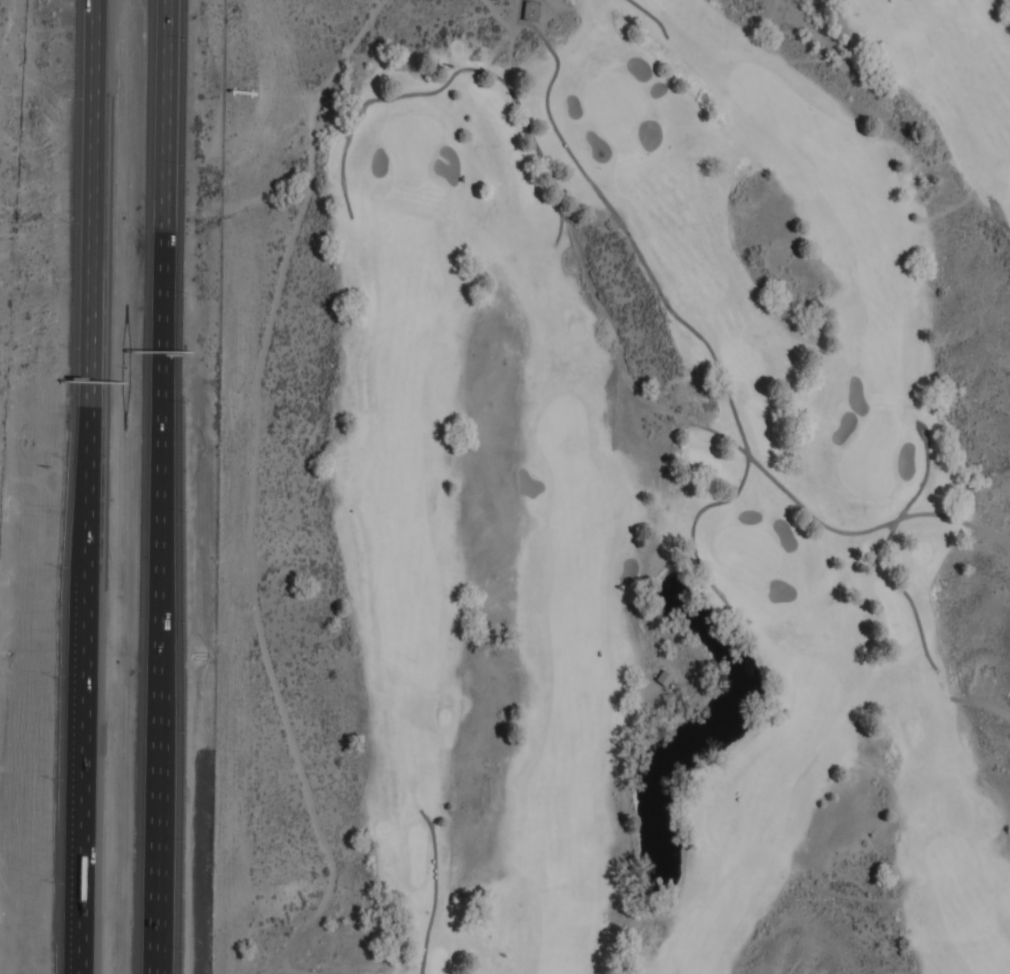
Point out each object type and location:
building: (531, 10)
road: (650, 15)
road: (458, 70)
road: (999, 221)
road: (667, 304)
road: (83, 486)
road: (166, 487)
park: (614, 488)
building: (664, 678)

